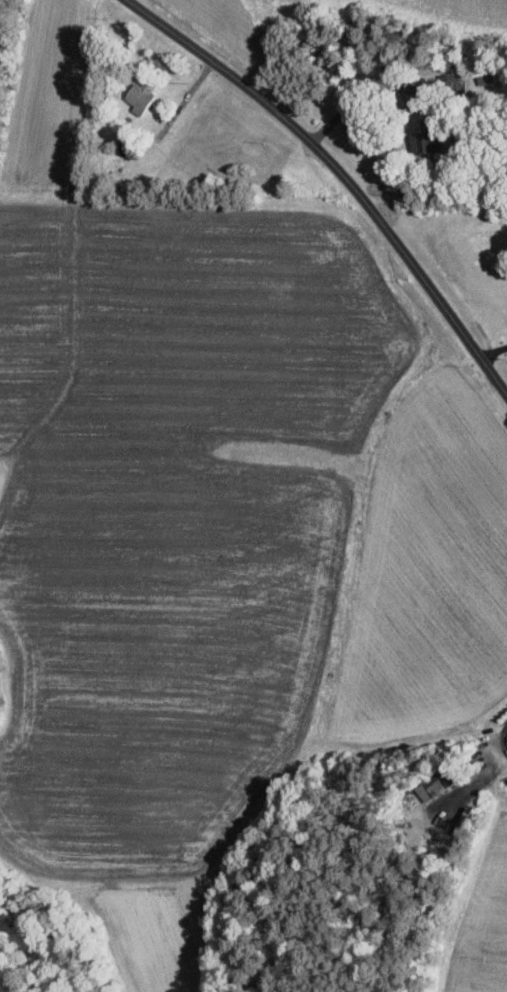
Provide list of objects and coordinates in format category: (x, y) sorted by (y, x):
road: (371, 91)
building: (137, 97)
building: (421, 145)
road: (340, 173)
road: (492, 350)
road: (499, 740)
building: (430, 786)

